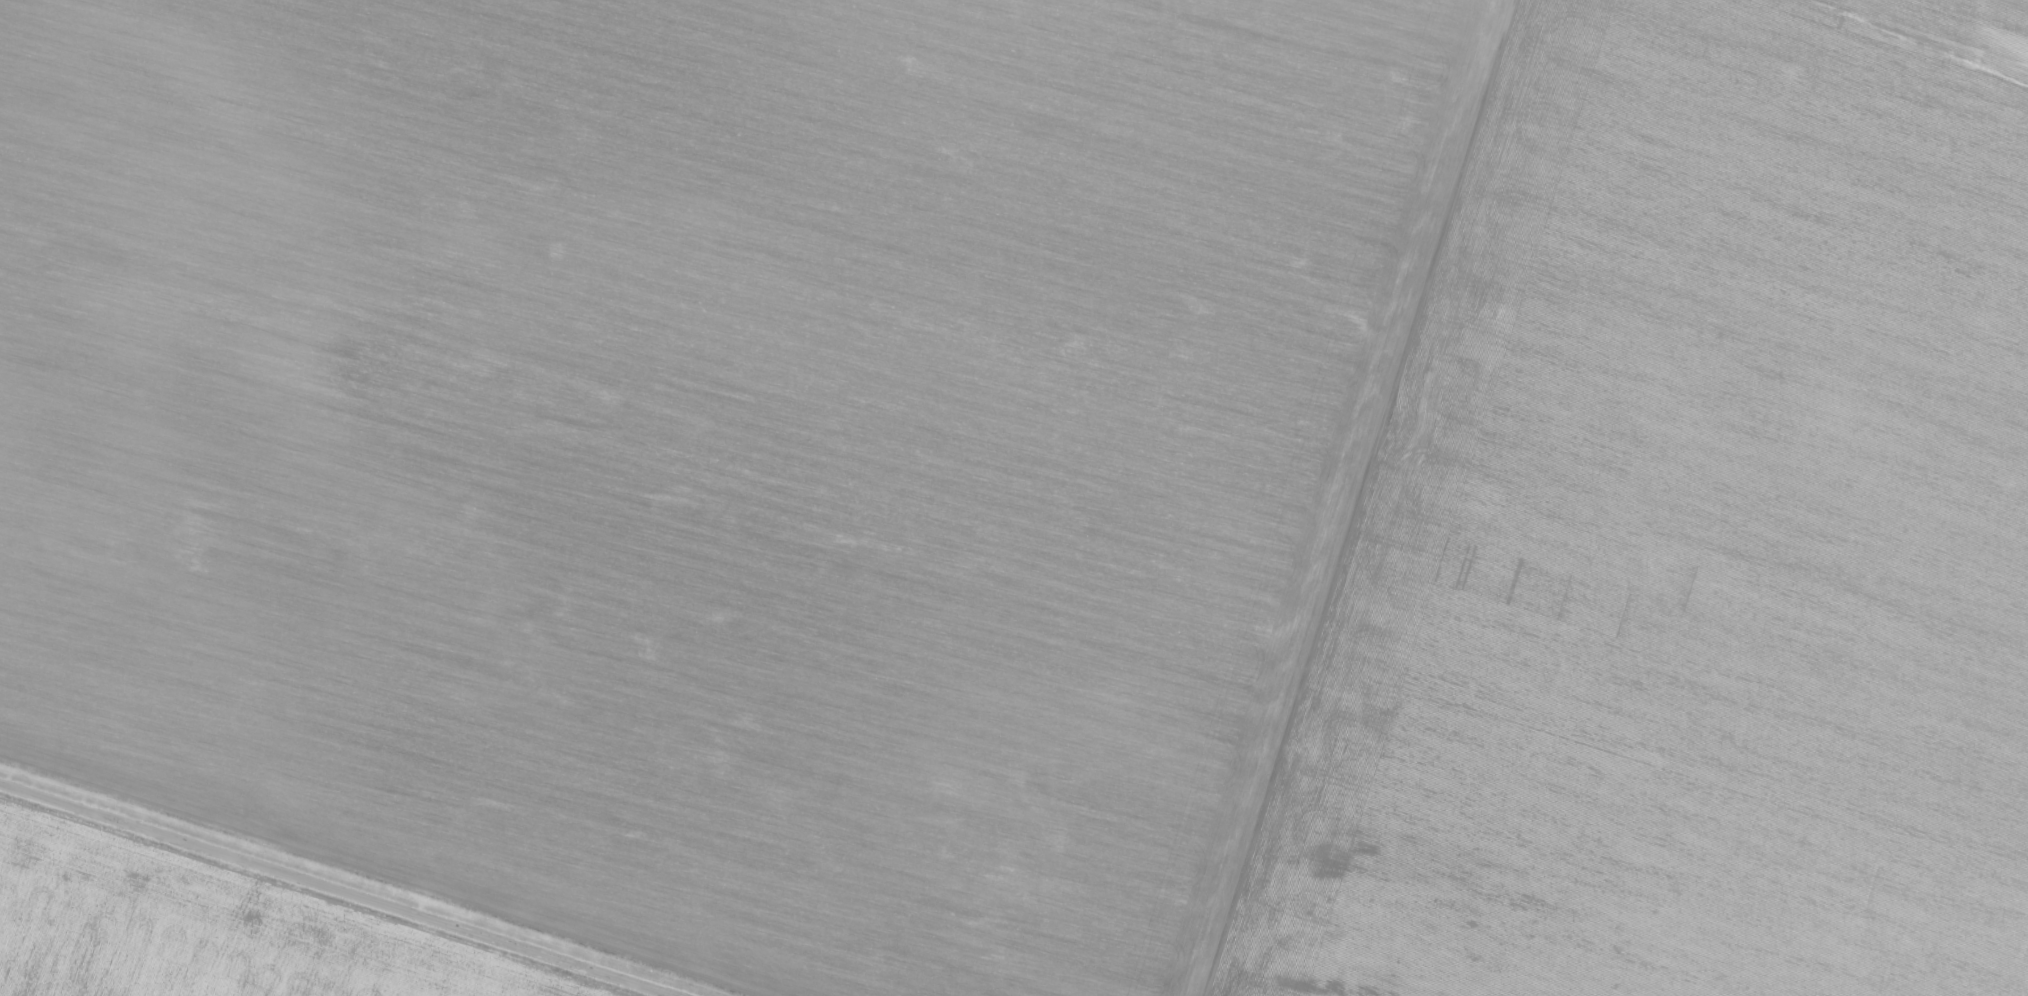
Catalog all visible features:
road: (1340, 498)
road: (370, 877)

